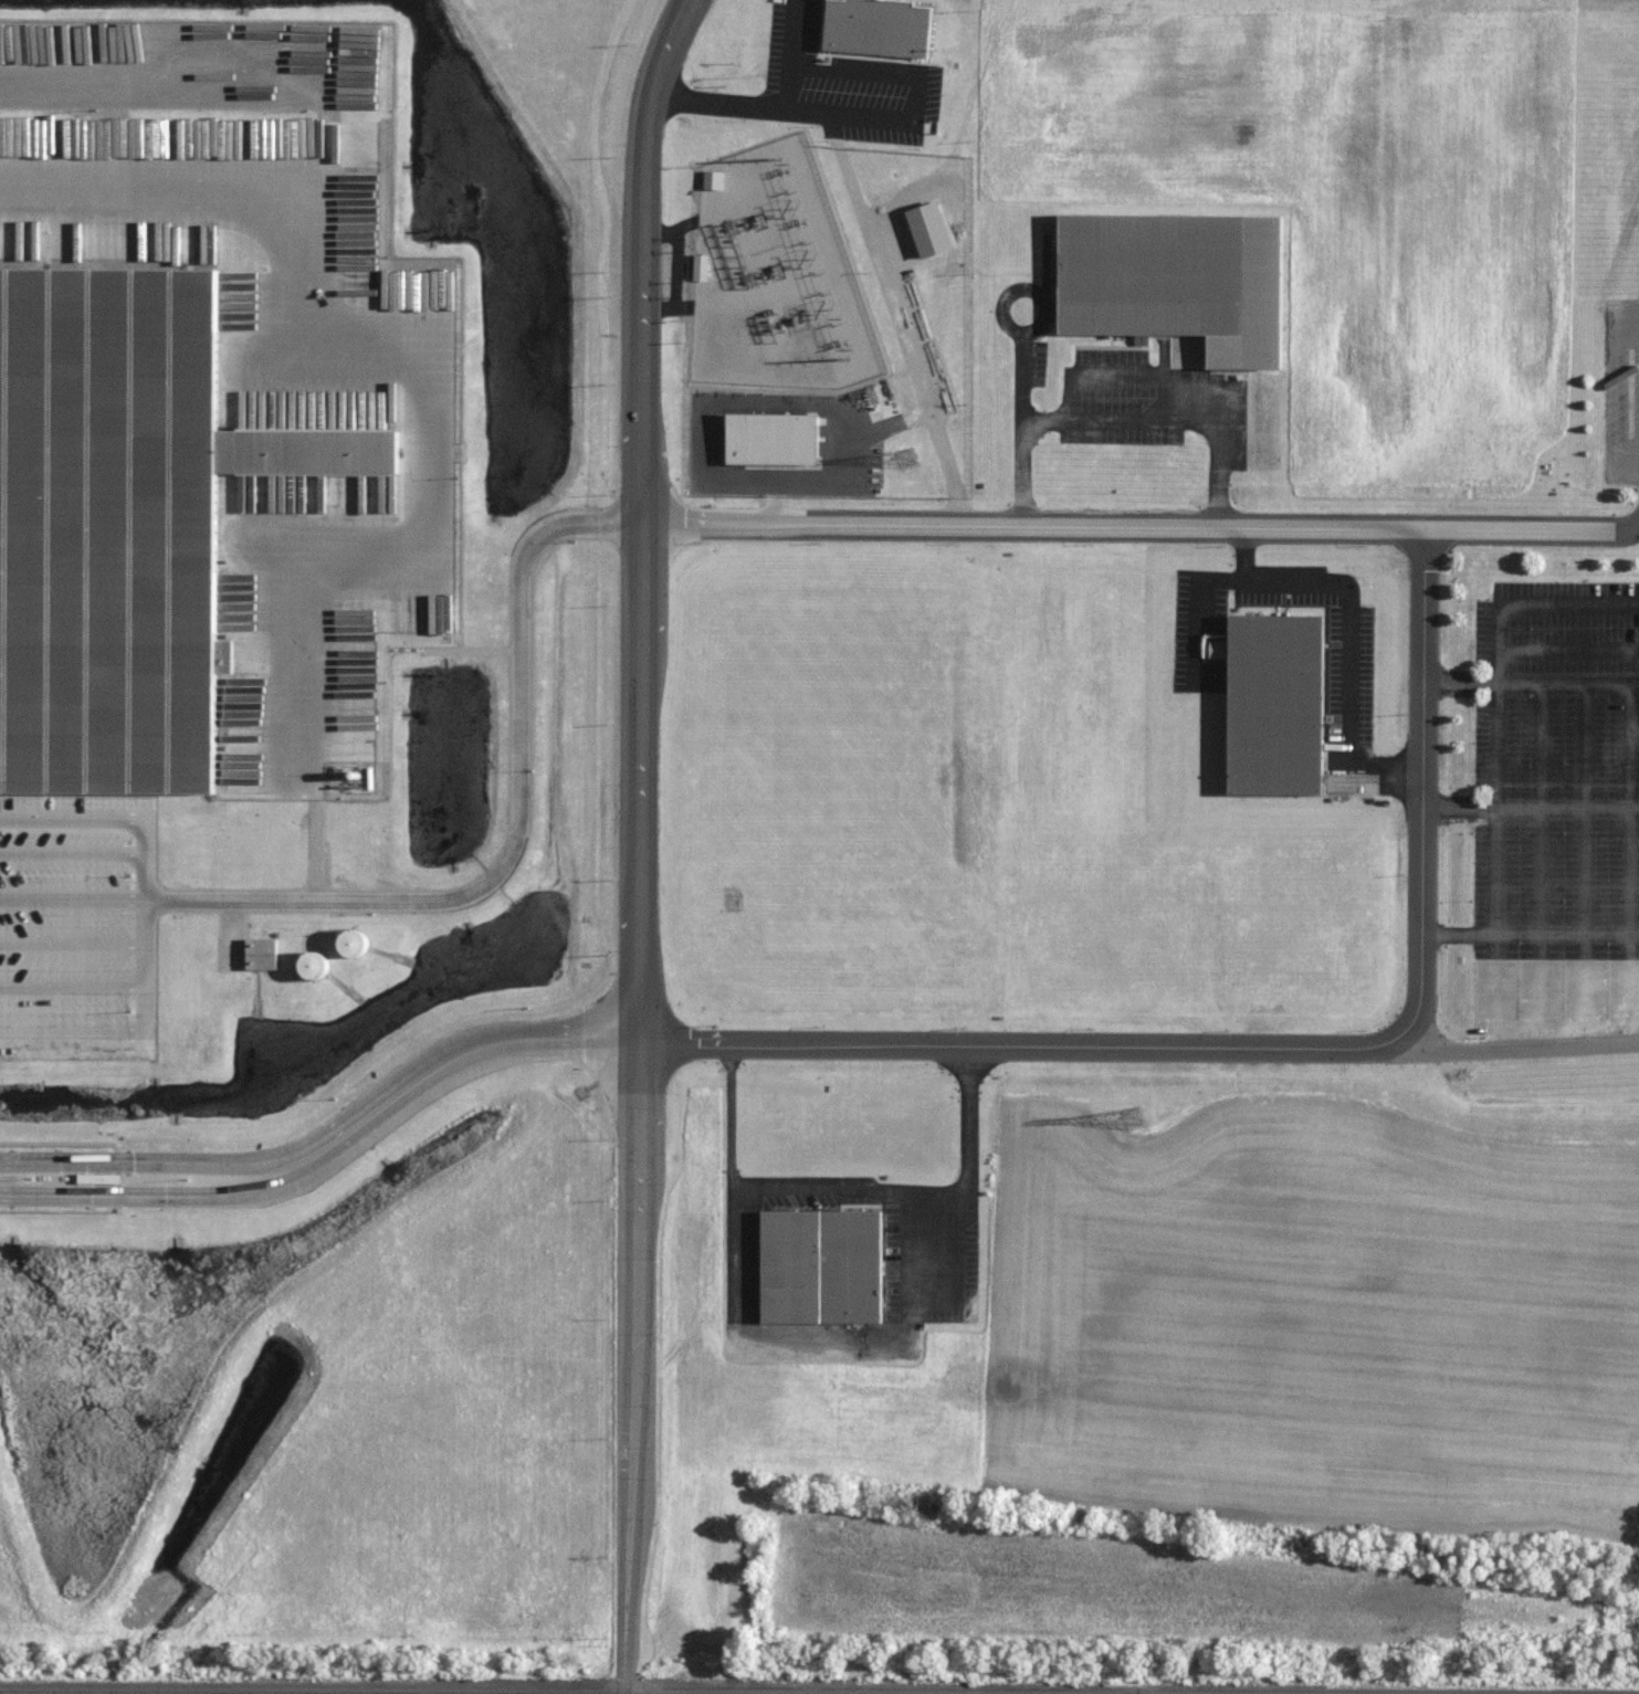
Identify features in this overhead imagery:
road: (768, 107)
power substation: (775, 277)
building: (1168, 281)
road: (413, 341)
building: (318, 450)
power tower: (903, 460)
road: (1533, 527)
building: (101, 534)
road: (1346, 629)
building: (1267, 685)
road: (1419, 783)
road: (71, 816)
road: (316, 823)
road: (639, 843)
road: (71, 854)
road: (477, 887)
road: (141, 925)
road: (71, 946)
road: (71, 989)
road: (71, 1033)
road: (1527, 1045)
power tower: (1123, 1118)
road: (330, 1144)
road: (853, 1185)
building: (815, 1265)
railway: (819, 1690)

